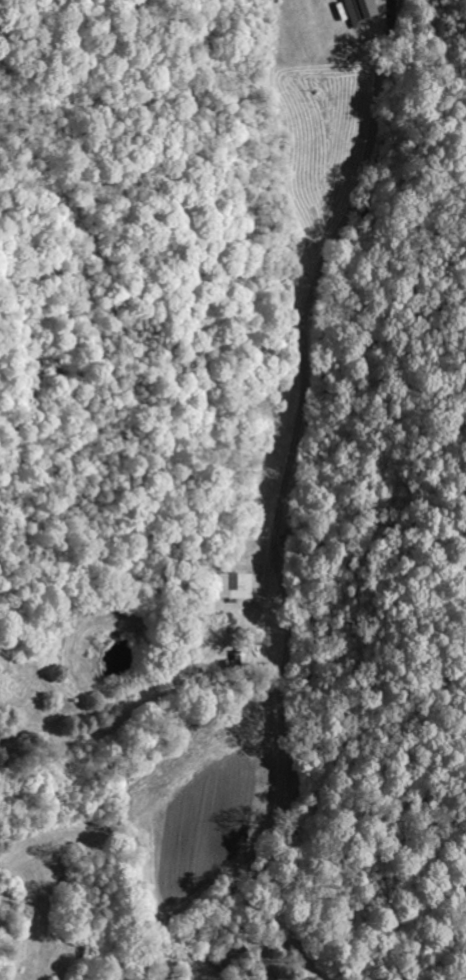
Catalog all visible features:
building: (364, 12)
road: (299, 321)
building: (235, 587)

